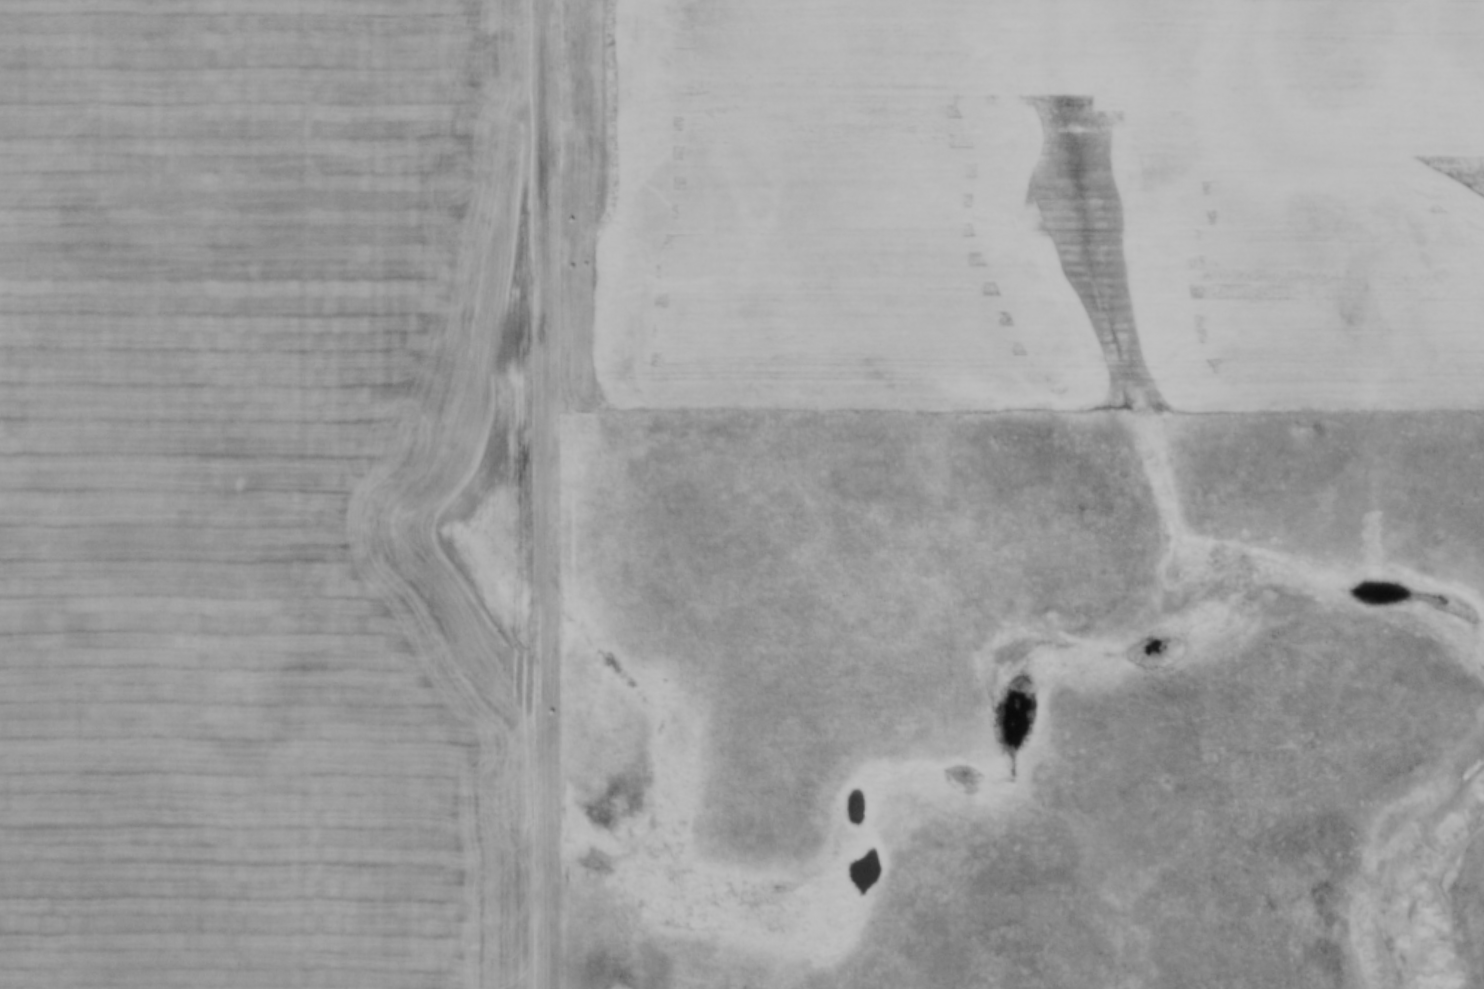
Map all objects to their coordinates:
road: (546, 494)

